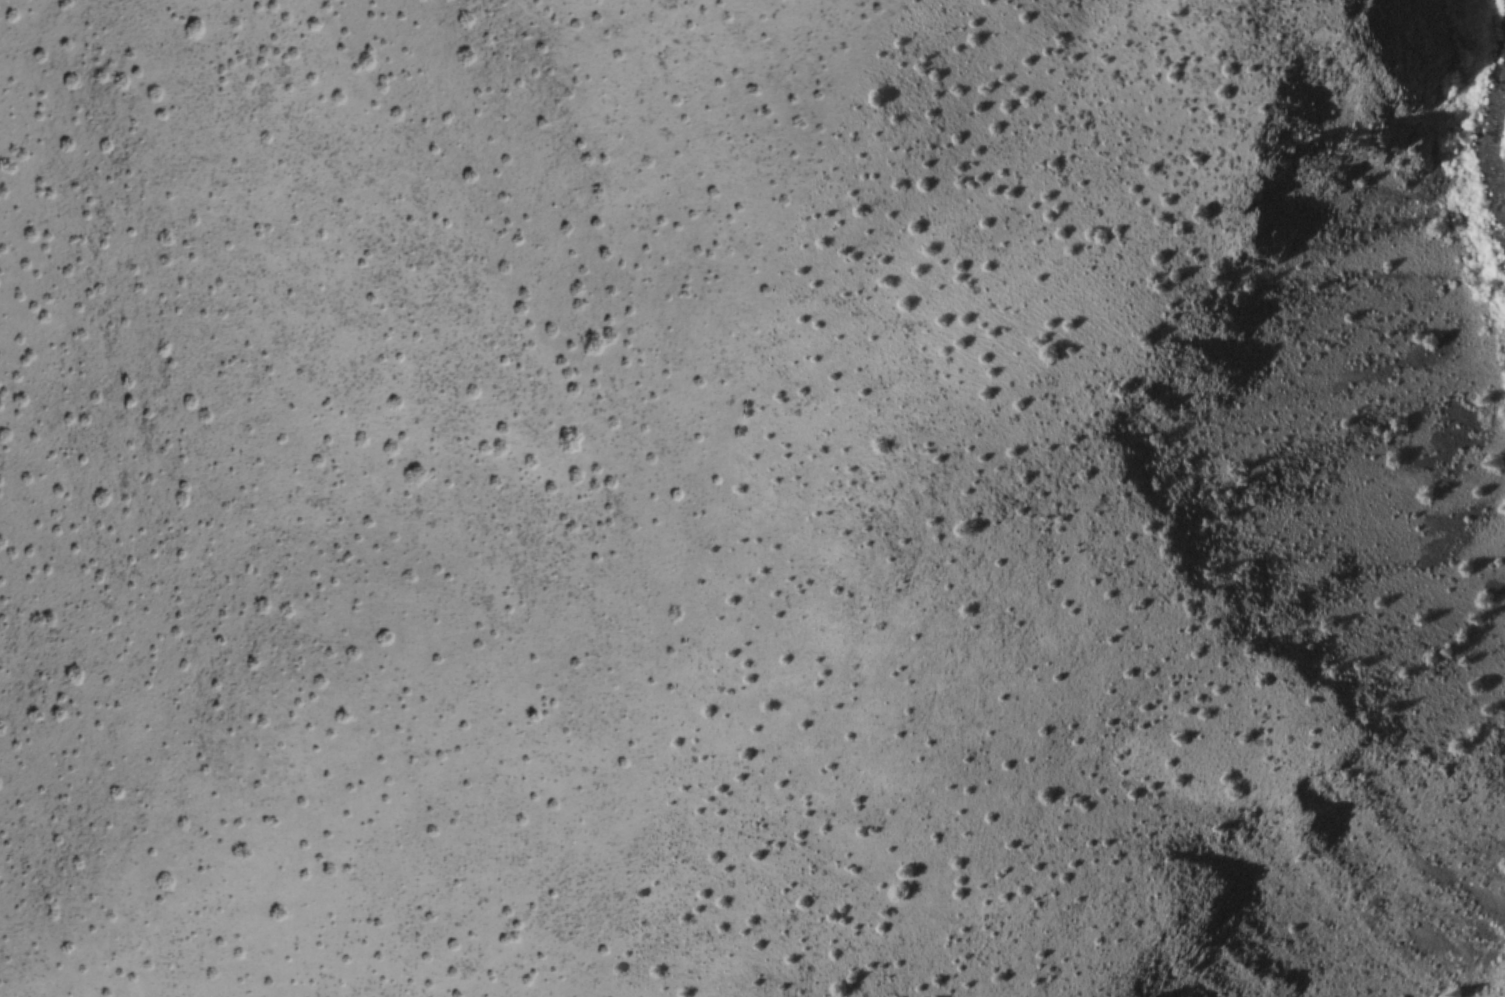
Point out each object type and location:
river: (1485, 147)

